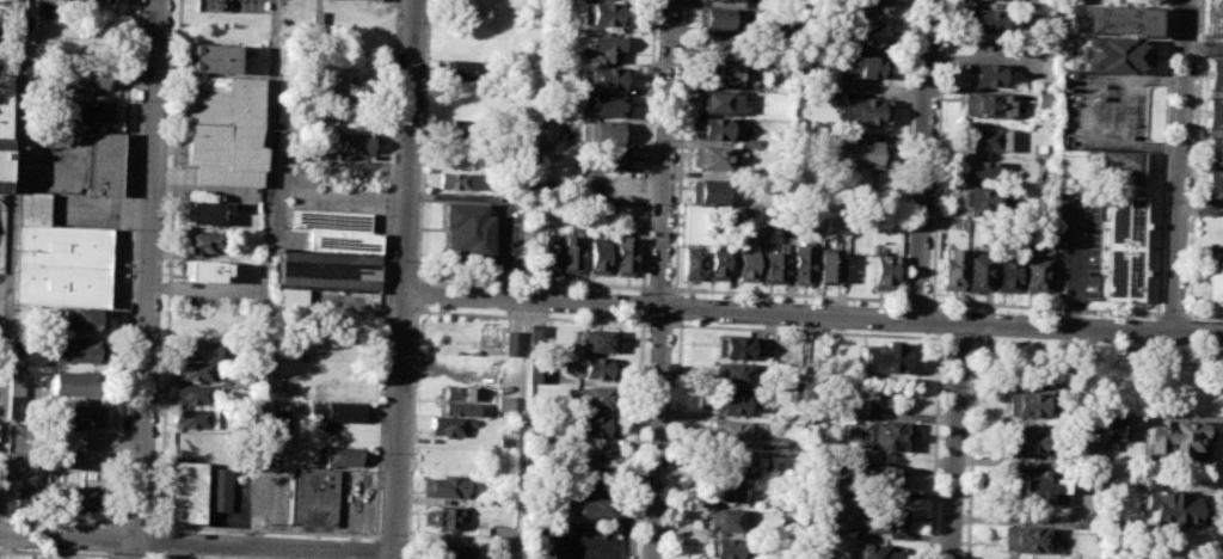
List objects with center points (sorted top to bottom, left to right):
building: (88, 0)
building: (737, 0)
parking lot: (233, 5)
building: (6, 6)
building: (872, 6)
building: (603, 14)
building: (718, 19)
building: (1106, 19)
building: (988, 20)
street lamp: (399, 21)
building: (783, 26)
building: (868, 36)
street lamp: (656, 42)
parking lot: (6, 43)
building: (606, 48)
building: (717, 48)
road: (1204, 48)
building: (1111, 54)
building: (213, 57)
street lamp: (1196, 64)
building: (860, 68)
building: (466, 70)
building: (717, 74)
building: (1213, 74)
building: (989, 75)
building: (82, 79)
building: (608, 79)
building: (354, 85)
building: (1045, 98)
building: (719, 102)
building: (988, 104)
building: (609, 105)
road: (1082, 109)
building: (861, 110)
parking lot: (1102, 110)
building: (90, 112)
building: (1212, 112)
building: (4, 127)
building: (455, 127)
building: (714, 128)
building: (225, 129)
building: (608, 133)
street lamp: (394, 139)
building: (546, 139)
street lamp: (652, 139)
building: (985, 139)
building: (355, 142)
road: (647, 146)
road: (680, 147)
road: (909, 150)
road: (938, 150)
building: (1212, 150)
building: (856, 152)
road: (666, 154)
road: (1164, 156)
road: (1196, 156)
building: (711, 158)
building: (607, 159)
road: (923, 160)
building: (104, 162)
building: (1118, 167)
road: (1181, 167)
building: (988, 171)
street lamp: (1192, 174)
building: (463, 180)
building: (1212, 183)
street lamp: (934, 185)
building: (711, 191)
building: (983, 198)
road: (1202, 207)
building: (33, 208)
building: (204, 213)
building: (692, 226)
building: (337, 229)
building: (469, 231)
building: (202, 241)
parking lot: (1073, 241)
street lamp: (647, 244)
building: (1123, 247)
road: (419, 252)
building: (549, 253)
building: (570, 253)
building: (597, 256)
building: (623, 256)
road: (10, 258)
building: (746, 258)
street lamp: (388, 260)
road: (121, 262)
building: (692, 262)
building: (718, 262)
building: (801, 263)
road: (170, 264)
building: (776, 264)
building: (62, 265)
road: (1076, 265)
building: (828, 266)
building: (326, 269)
road: (385, 269)
building: (883, 269)
building: (203, 270)
building: (951, 270)
road: (265, 271)
building: (978, 271)
building: (1007, 274)
building: (1034, 275)
road: (404, 278)
road: (143, 279)
street lamp: (431, 281)
building: (1212, 281)
road: (659, 288)
street lamp: (632, 291)
road: (418, 293)
street lamp: (1187, 293)
road: (788, 294)
street lamp: (929, 294)
parking lot: (1, 297)
street lamp: (752, 299)
road: (531, 301)
road: (917, 301)
street lamp: (872, 303)
road: (643, 305)
road: (676, 307)
road: (1045, 307)
road: (418, 311)
street lamp: (997, 311)
road: (1173, 313)
road: (1204, 314)
street lamp: (1106, 315)
street lamp: (1193, 319)
building: (79, 320)
road: (941, 322)
road: (660, 324)
building: (198, 325)
road: (810, 331)
street lamp: (649, 337)
road: (958, 338)
building: (595, 342)
street lamp: (386, 343)
building: (512, 343)
road: (1095, 344)
building: (733, 346)
building: (199, 349)
street lamp: (971, 349)
building: (75, 350)
building: (884, 358)
building: (597, 367)
building: (195, 371)
building: (536, 375)
building: (732, 375)
building: (17, 382)
building: (73, 383)
building: (278, 386)
building: (344, 389)
road: (2, 392)
building: (457, 393)
building: (195, 394)
building: (594, 398)
building: (504, 403)
building: (1026, 404)
street lamp: (645, 405)
building: (731, 405)
building: (457, 408)
building: (855, 408)
building: (340, 412)
building: (79, 414)
building: (193, 418)
building: (281, 424)
building: (451, 425)
building: (1113, 425)
building: (597, 426)
road: (521, 430)
building: (731, 432)
road: (657, 434)
building: (884, 436)
building: (1176, 436)
road: (637, 437)
road: (675, 438)
building: (56, 440)
road: (954, 441)
building: (1025, 441)
road: (935, 448)
road: (972, 449)
building: (590, 455)
building: (345, 457)
building: (735, 461)
building: (780, 466)
building: (880, 477)
building: (589, 481)
building: (445, 486)
building: (1041, 487)
building: (186, 489)
building: (220, 489)
building: (729, 491)
building: (23, 497)
building: (73, 497)
building: (313, 497)
street lamp: (641, 506)
building: (594, 508)
building: (1170, 508)
building: (447, 517)
road: (59, 518)
building: (724, 520)
road: (135, 522)
building: (880, 522)
road: (265, 530)
street lamp: (379, 533)
road: (391, 535)
road: (109, 537)
building: (1026, 539)
parking lot: (578, 540)
road: (158, 541)
road: (196, 541)
building: (503, 543)
building: (724, 547)
road: (407, 548)
road: (375, 549)
road: (59, 552)
road: (247, 552)
building: (453, 552)
building: (874, 552)
road: (109, 554)
road: (158, 555)
road: (134, 557)
building: (37, 558)
road: (168, 558)

